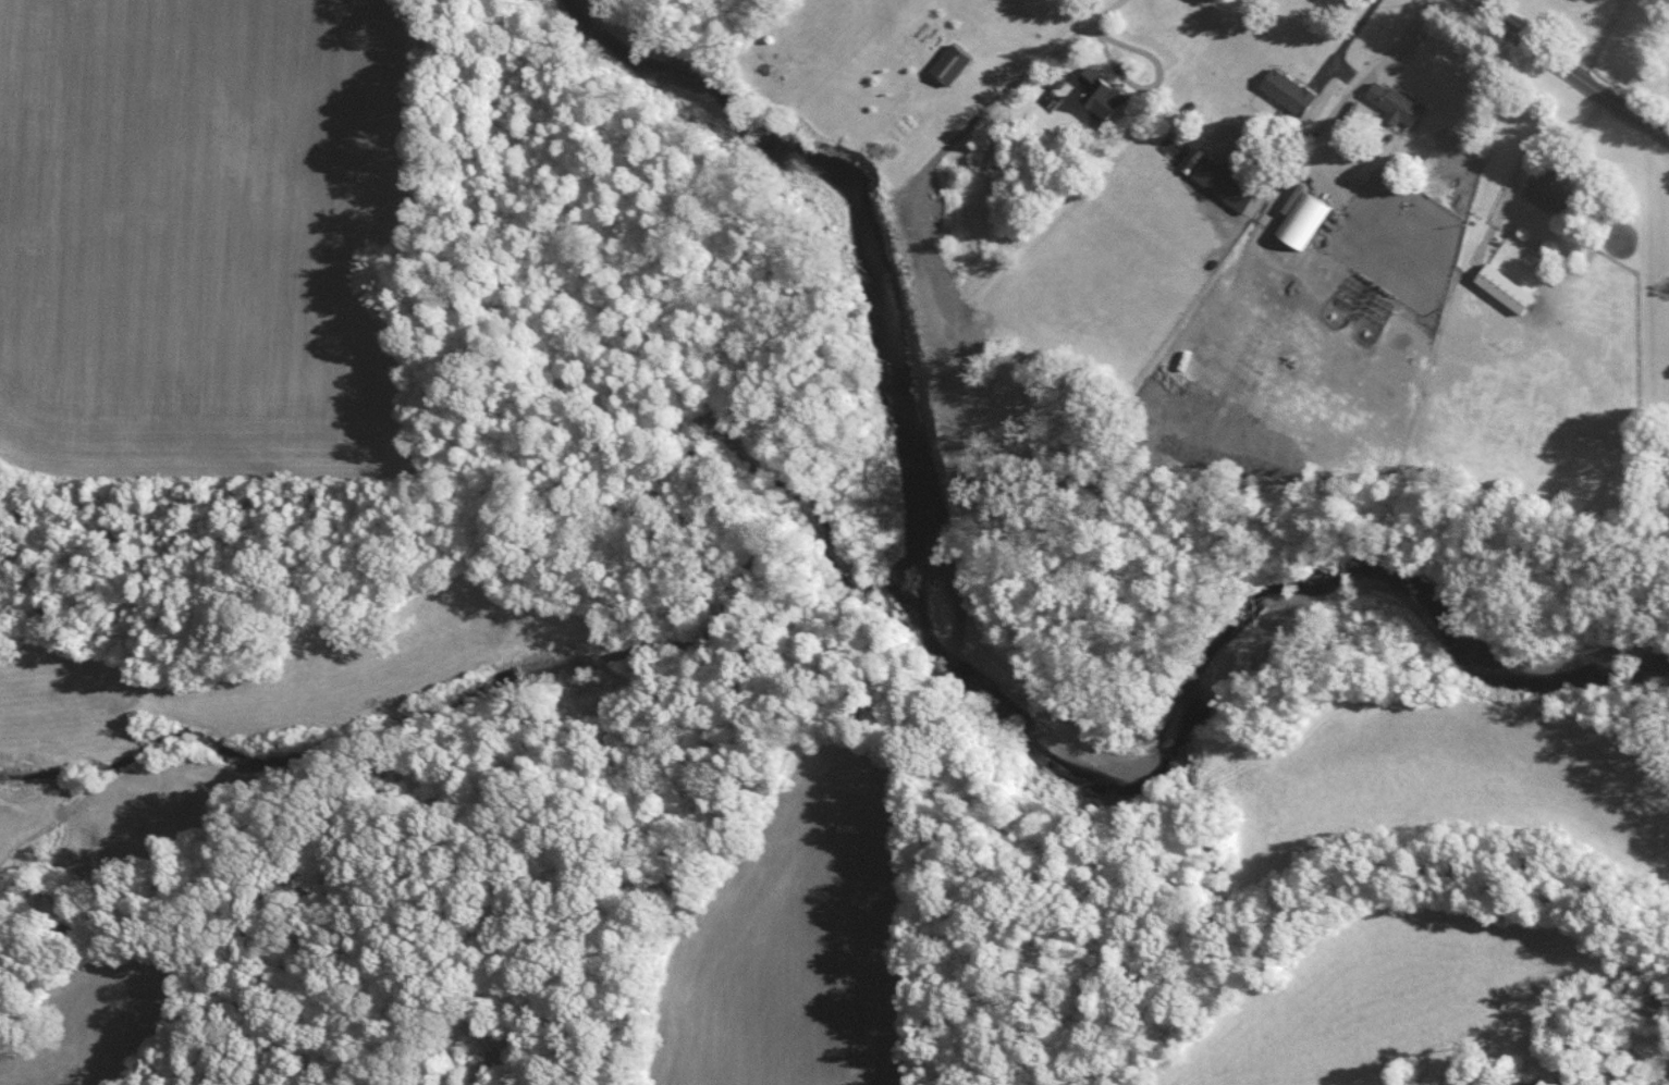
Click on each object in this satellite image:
road: (1102, 14)
road: (1603, 38)
road: (1347, 41)
building: (952, 62)
road: (1568, 67)
road: (1156, 84)
building: (1289, 89)
building: (1101, 94)
building: (1396, 102)
building: (1228, 182)
building: (1551, 189)
building: (1304, 218)
building: (1506, 286)

